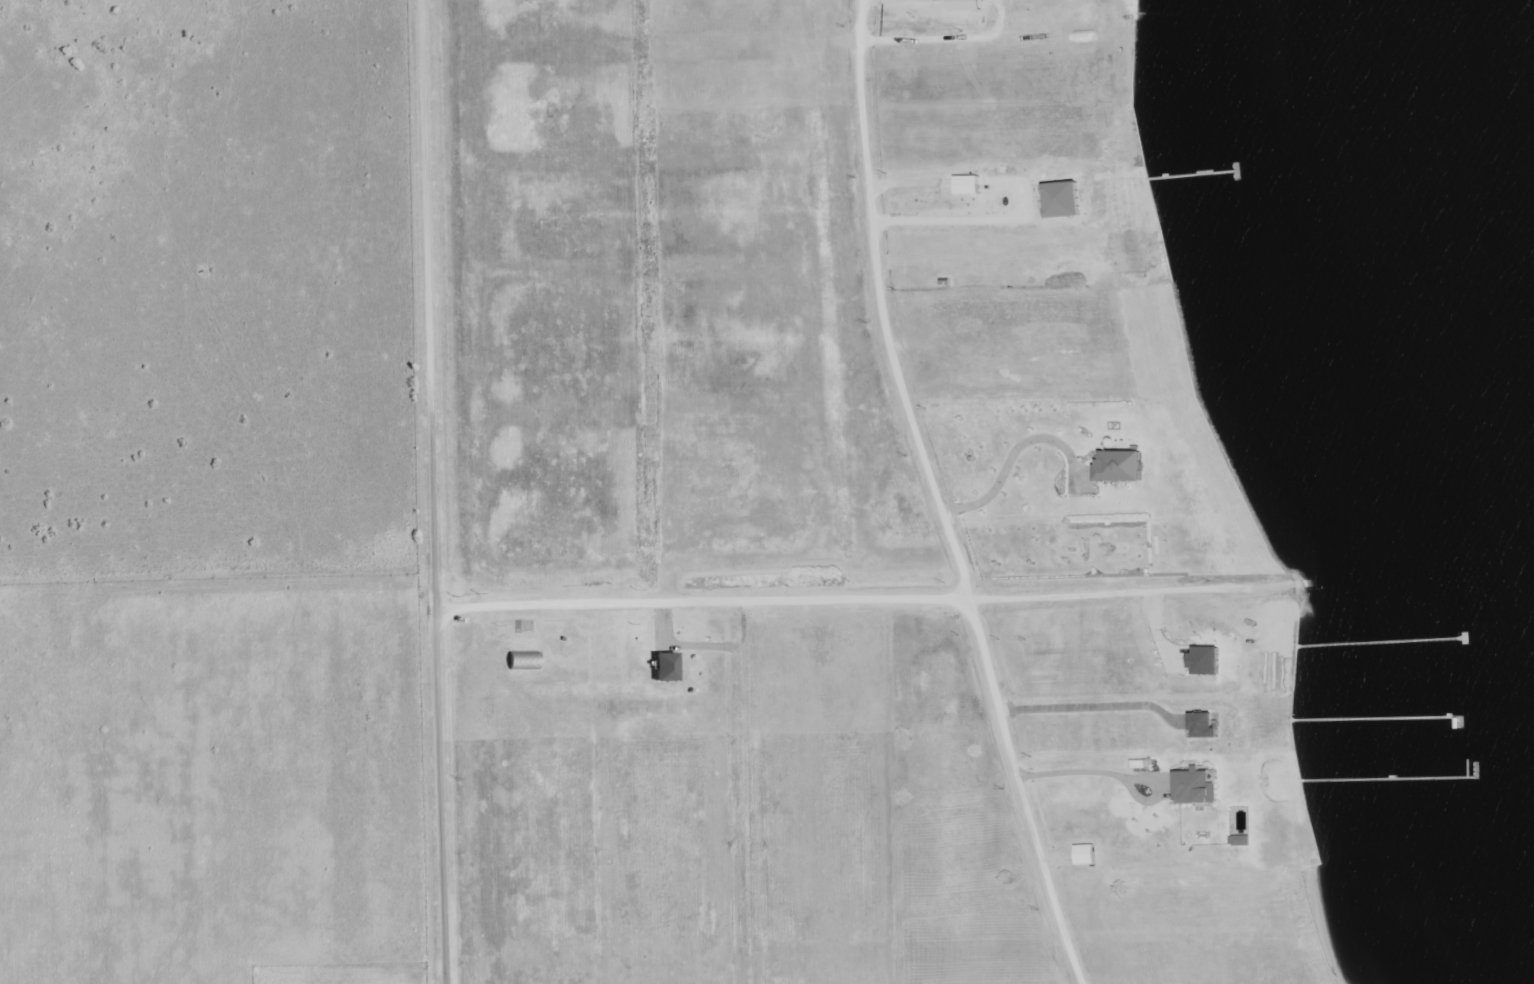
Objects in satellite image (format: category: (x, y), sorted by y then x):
building: (965, 5)
building: (969, 185)
building: (1065, 200)
building: (1121, 467)
road: (435, 492)
building: (1207, 660)
building: (523, 661)
building: (667, 666)
building: (1205, 725)
building: (1086, 855)

